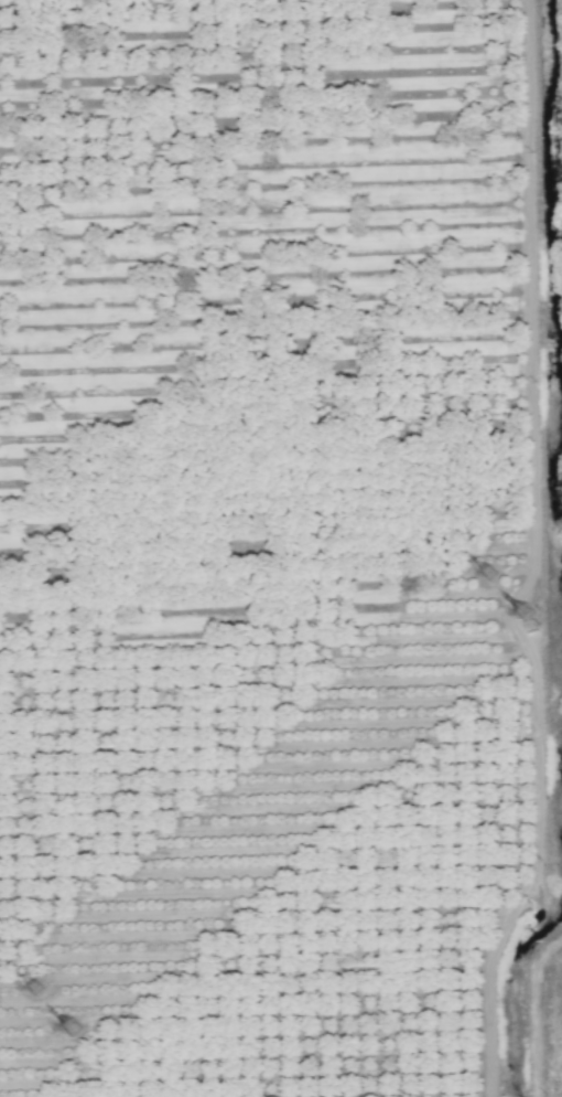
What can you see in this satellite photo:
power tower: (486, 576)
power tower: (522, 616)
power tower: (32, 991)
power tower: (72, 1030)

